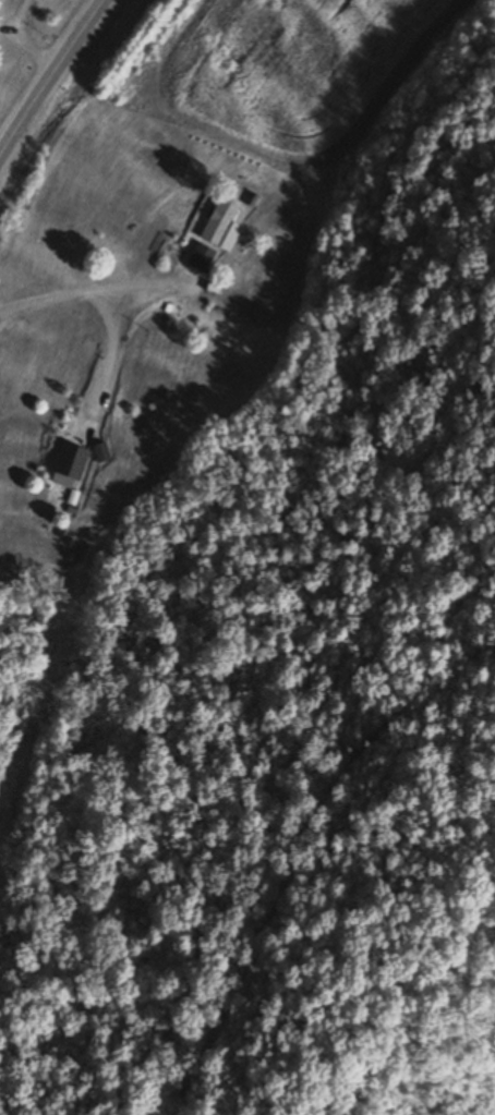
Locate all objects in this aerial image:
road: (51, 76)
building: (221, 226)
building: (200, 257)
building: (99, 452)
building: (69, 461)

